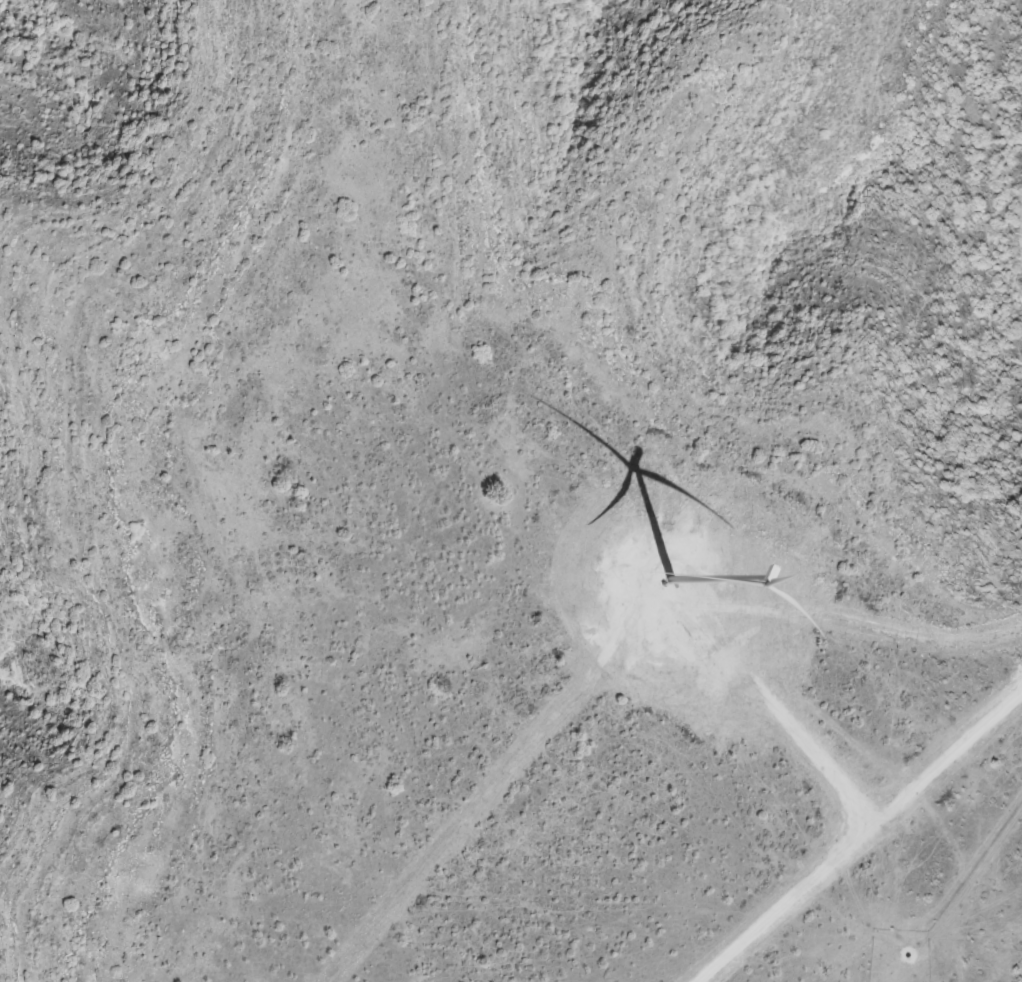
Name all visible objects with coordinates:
wind turbine: (662, 581)

